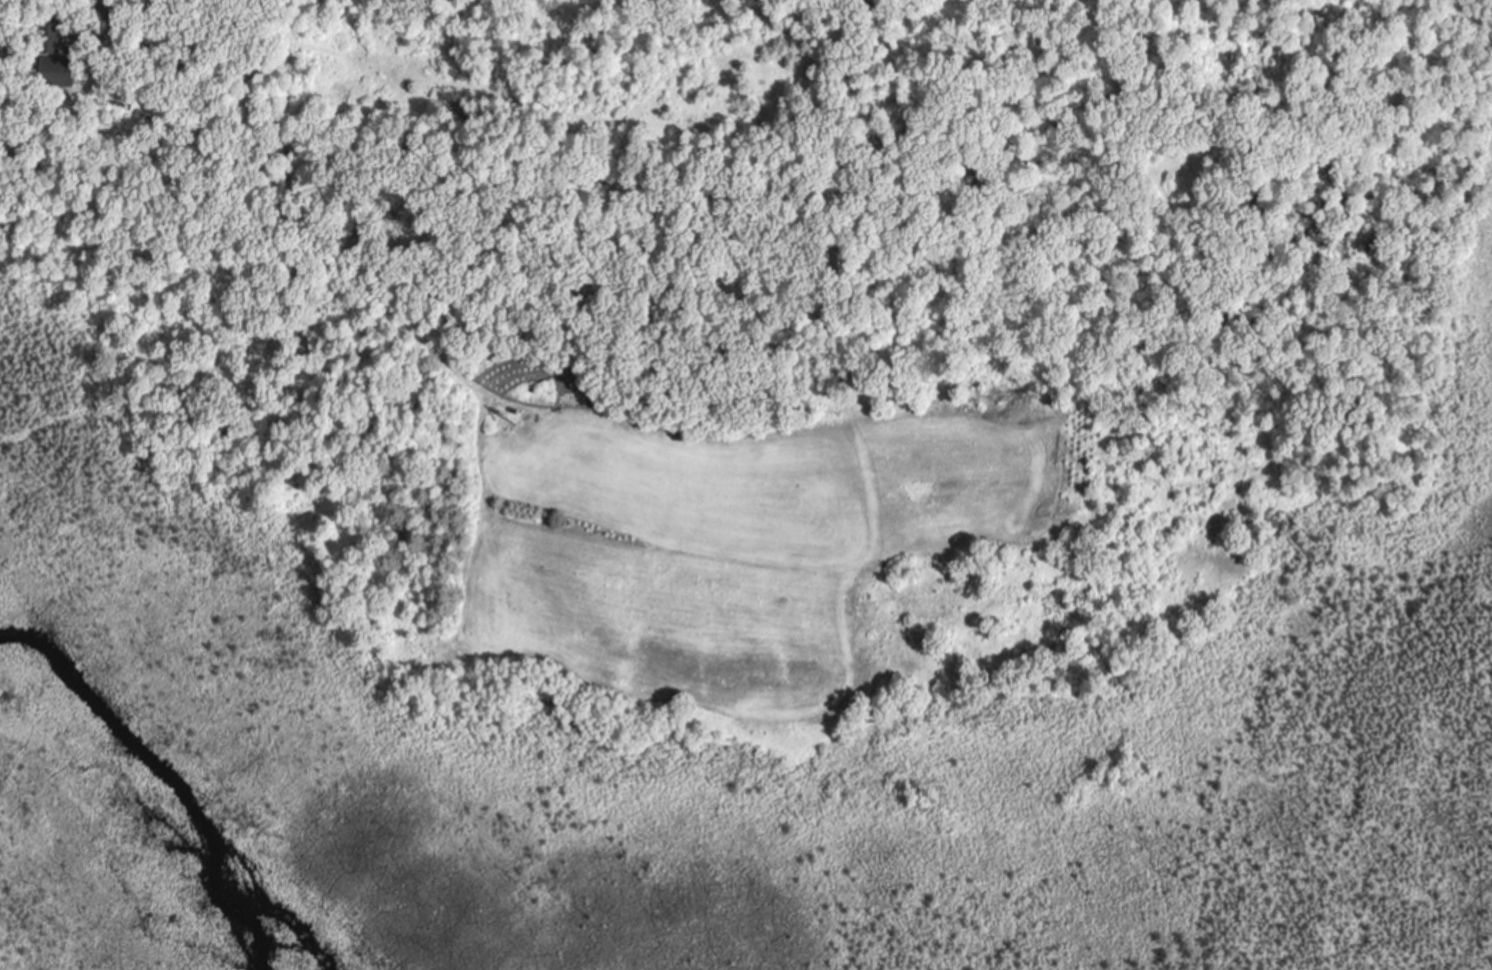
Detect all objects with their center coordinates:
road: (104, 12)
building: (58, 70)

